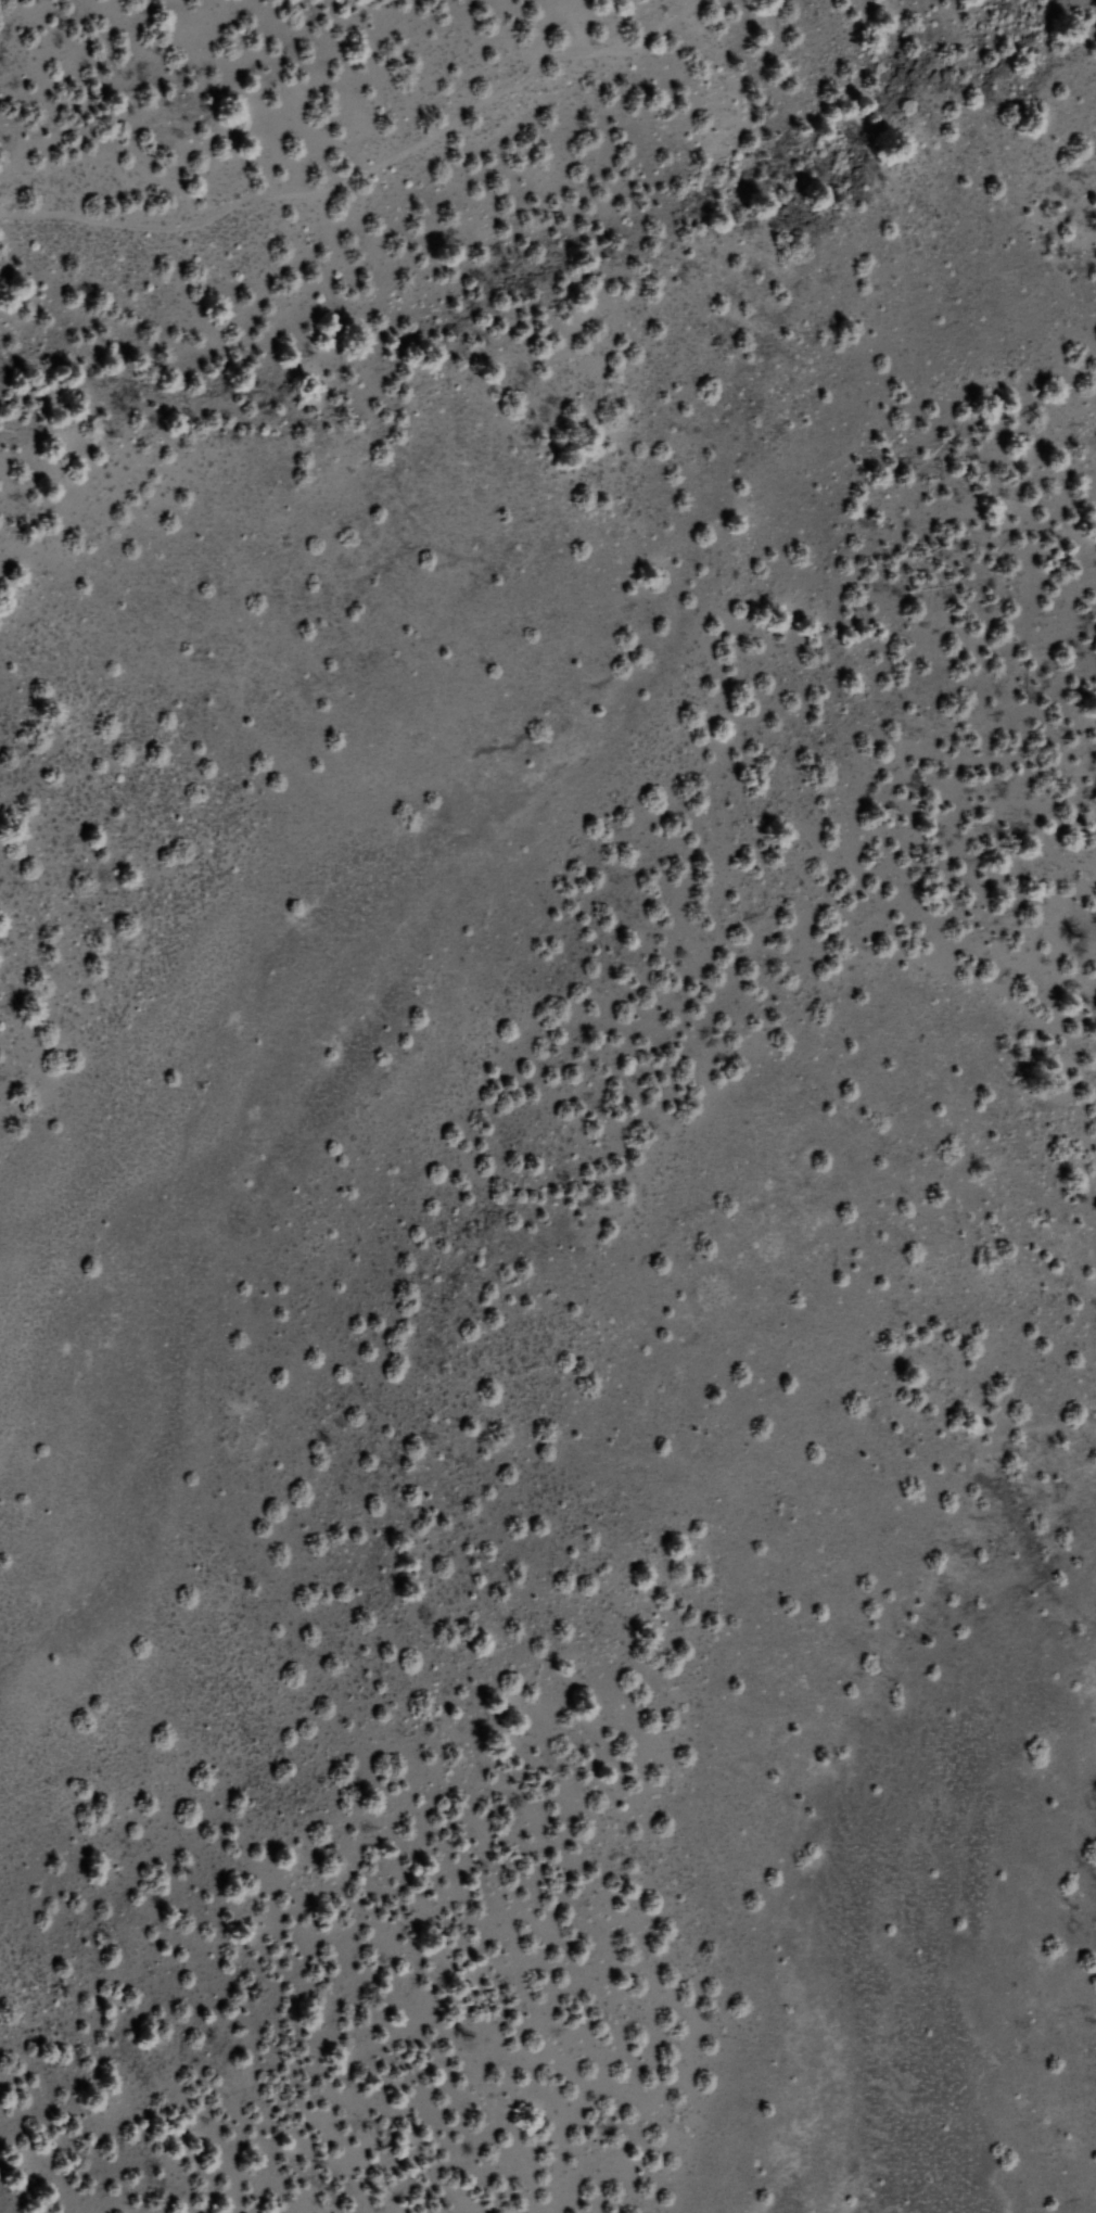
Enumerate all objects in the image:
road: (433, 257)
road: (36, 814)

